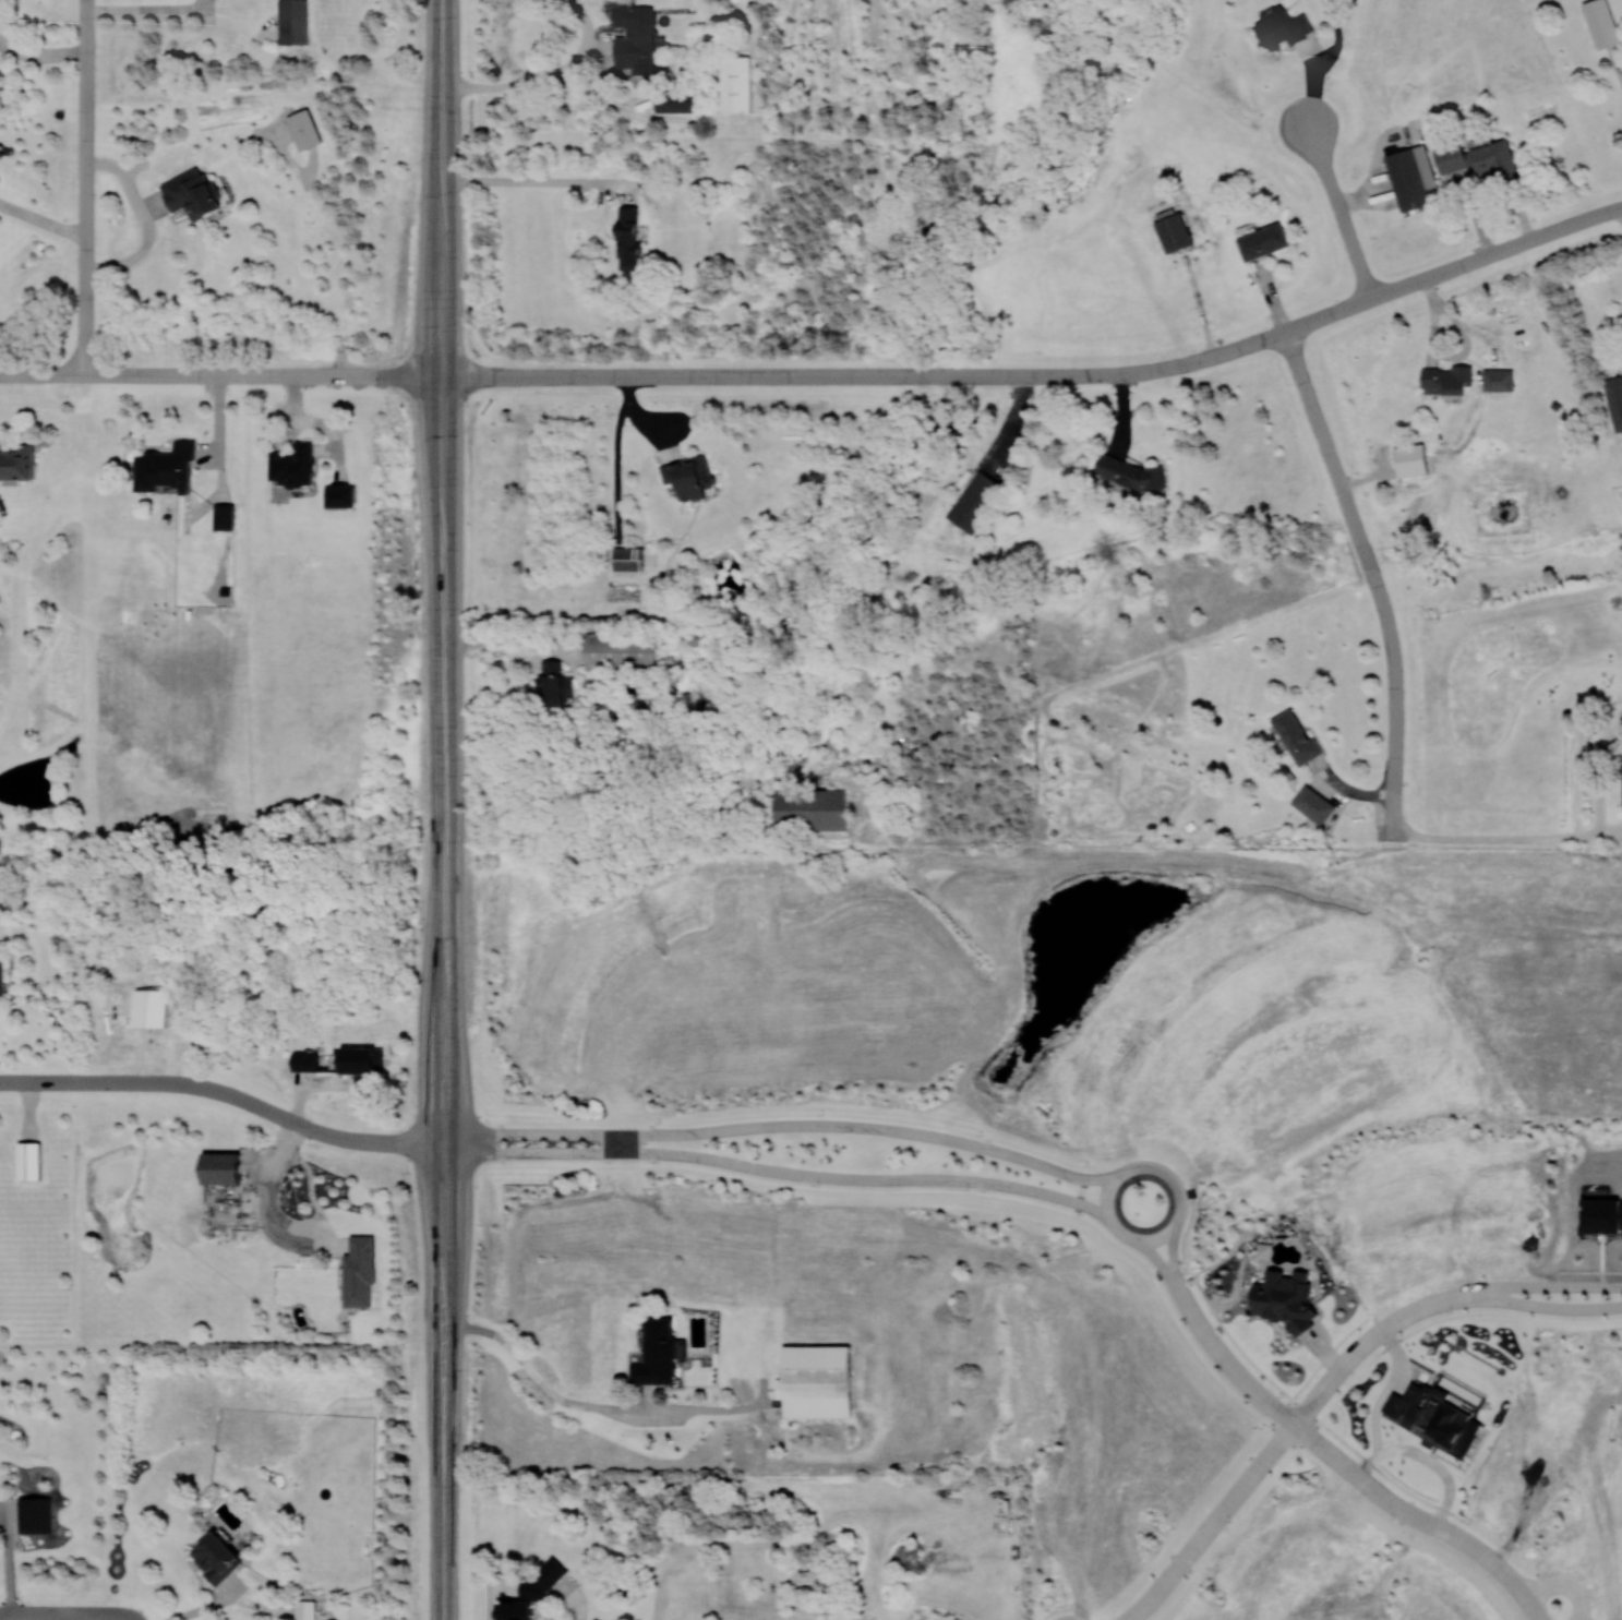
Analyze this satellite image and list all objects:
road: (151, 15)
building: (293, 22)
building: (1601, 23)
building: (1283, 27)
building: (635, 37)
road: (441, 45)
road: (41, 52)
road: (545, 77)
building: (736, 84)
building: (674, 101)
building: (304, 129)
road: (441, 134)
building: (1450, 157)
building: (1495, 160)
building: (1413, 178)
road: (526, 181)
road: (83, 187)
building: (192, 193)
road: (1339, 211)
road: (40, 221)
road: (145, 221)
building: (1174, 232)
building: (627, 238)
building: (1263, 241)
road: (1453, 268)
road: (440, 278)
road: (1162, 369)
road: (219, 374)
road: (757, 376)
road: (456, 377)
road: (476, 377)
building: (1446, 380)
building: (1497, 380)
building: (1614, 399)
road: (1327, 449)
building: (1411, 460)
building: (16, 461)
building: (292, 465)
building: (165, 468)
building: (1129, 472)
building: (688, 477)
building: (339, 495)
road: (440, 499)
building: (973, 501)
building: (224, 516)
building: (628, 559)
building: (620, 652)
road: (1396, 700)
road: (443, 737)
building: (1296, 737)
building: (1313, 804)
building: (809, 809)
road: (1505, 837)
building: (1, 980)
building: (147, 1008)
building: (340, 1060)
road: (214, 1089)
road: (444, 1091)
road: (789, 1125)
road: (432, 1137)
road: (618, 1142)
road: (432, 1145)
building: (28, 1160)
building: (221, 1167)
road: (780, 1171)
road: (1080, 1197)
road: (1028, 1202)
road: (1170, 1231)
road: (1169, 1255)
road: (1160, 1257)
building: (359, 1271)
road: (1176, 1284)
road: (1587, 1284)
road: (1514, 1285)
road: (1458, 1295)
building: (1285, 1299)
road: (1549, 1307)
road: (1392, 1344)
road: (1357, 1349)
building: (656, 1353)
road: (1228, 1363)
road: (529, 1368)
road: (1314, 1371)
building: (815, 1381)
road: (445, 1402)
road: (747, 1405)
road: (665, 1408)
building: (1433, 1418)
road: (1325, 1426)
road: (1248, 1475)
building: (35, 1514)
road: (1421, 1519)
road: (444, 1548)
building: (216, 1558)
road: (1164, 1575)
road: (1565, 1584)
building: (531, 1592)
road: (204, 1608)
building: (304, 1610)
road: (46, 1613)

